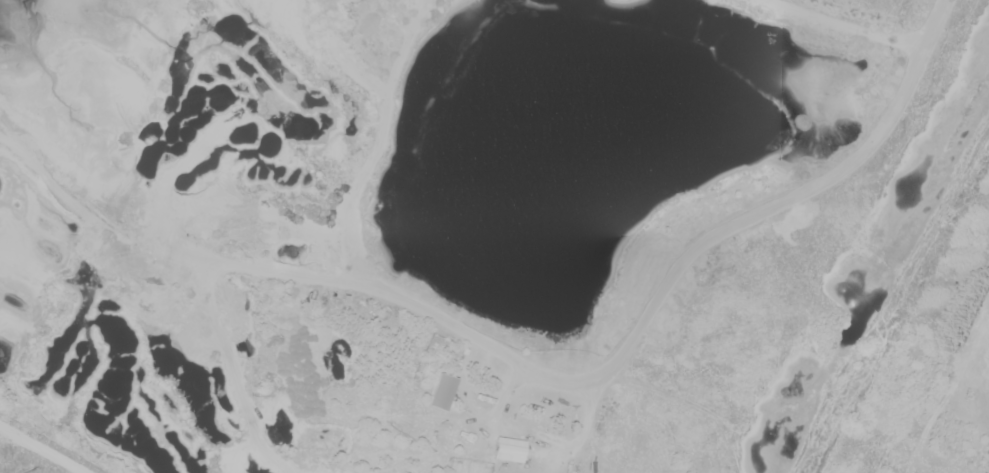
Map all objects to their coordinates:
building: (443, 391)
road: (44, 447)
building: (510, 449)
power plant: (37, 452)

